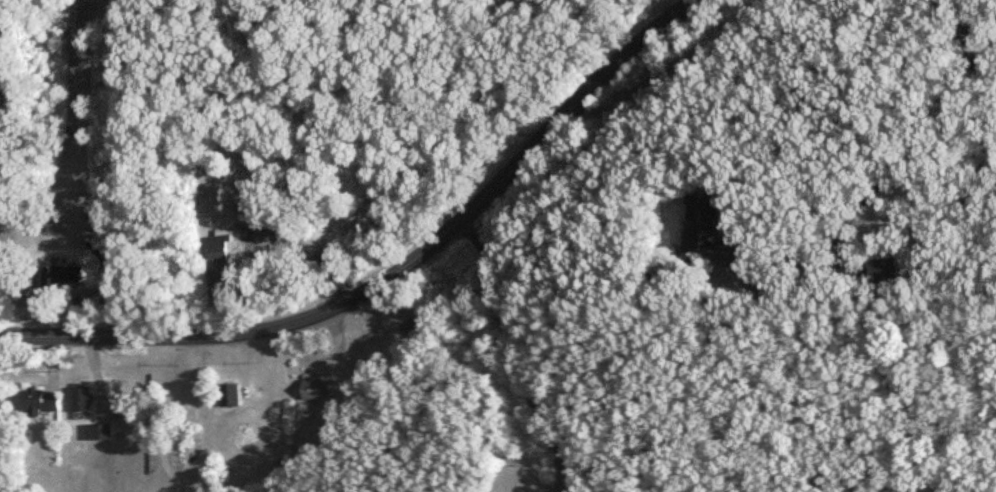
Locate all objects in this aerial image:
road: (977, 5)
building: (981, 62)
road: (775, 80)
building: (706, 231)
building: (217, 246)
road: (394, 272)
building: (882, 272)
building: (56, 278)
road: (769, 292)
road: (516, 352)
building: (311, 388)
building: (228, 395)
building: (80, 398)
building: (38, 401)
building: (97, 432)

